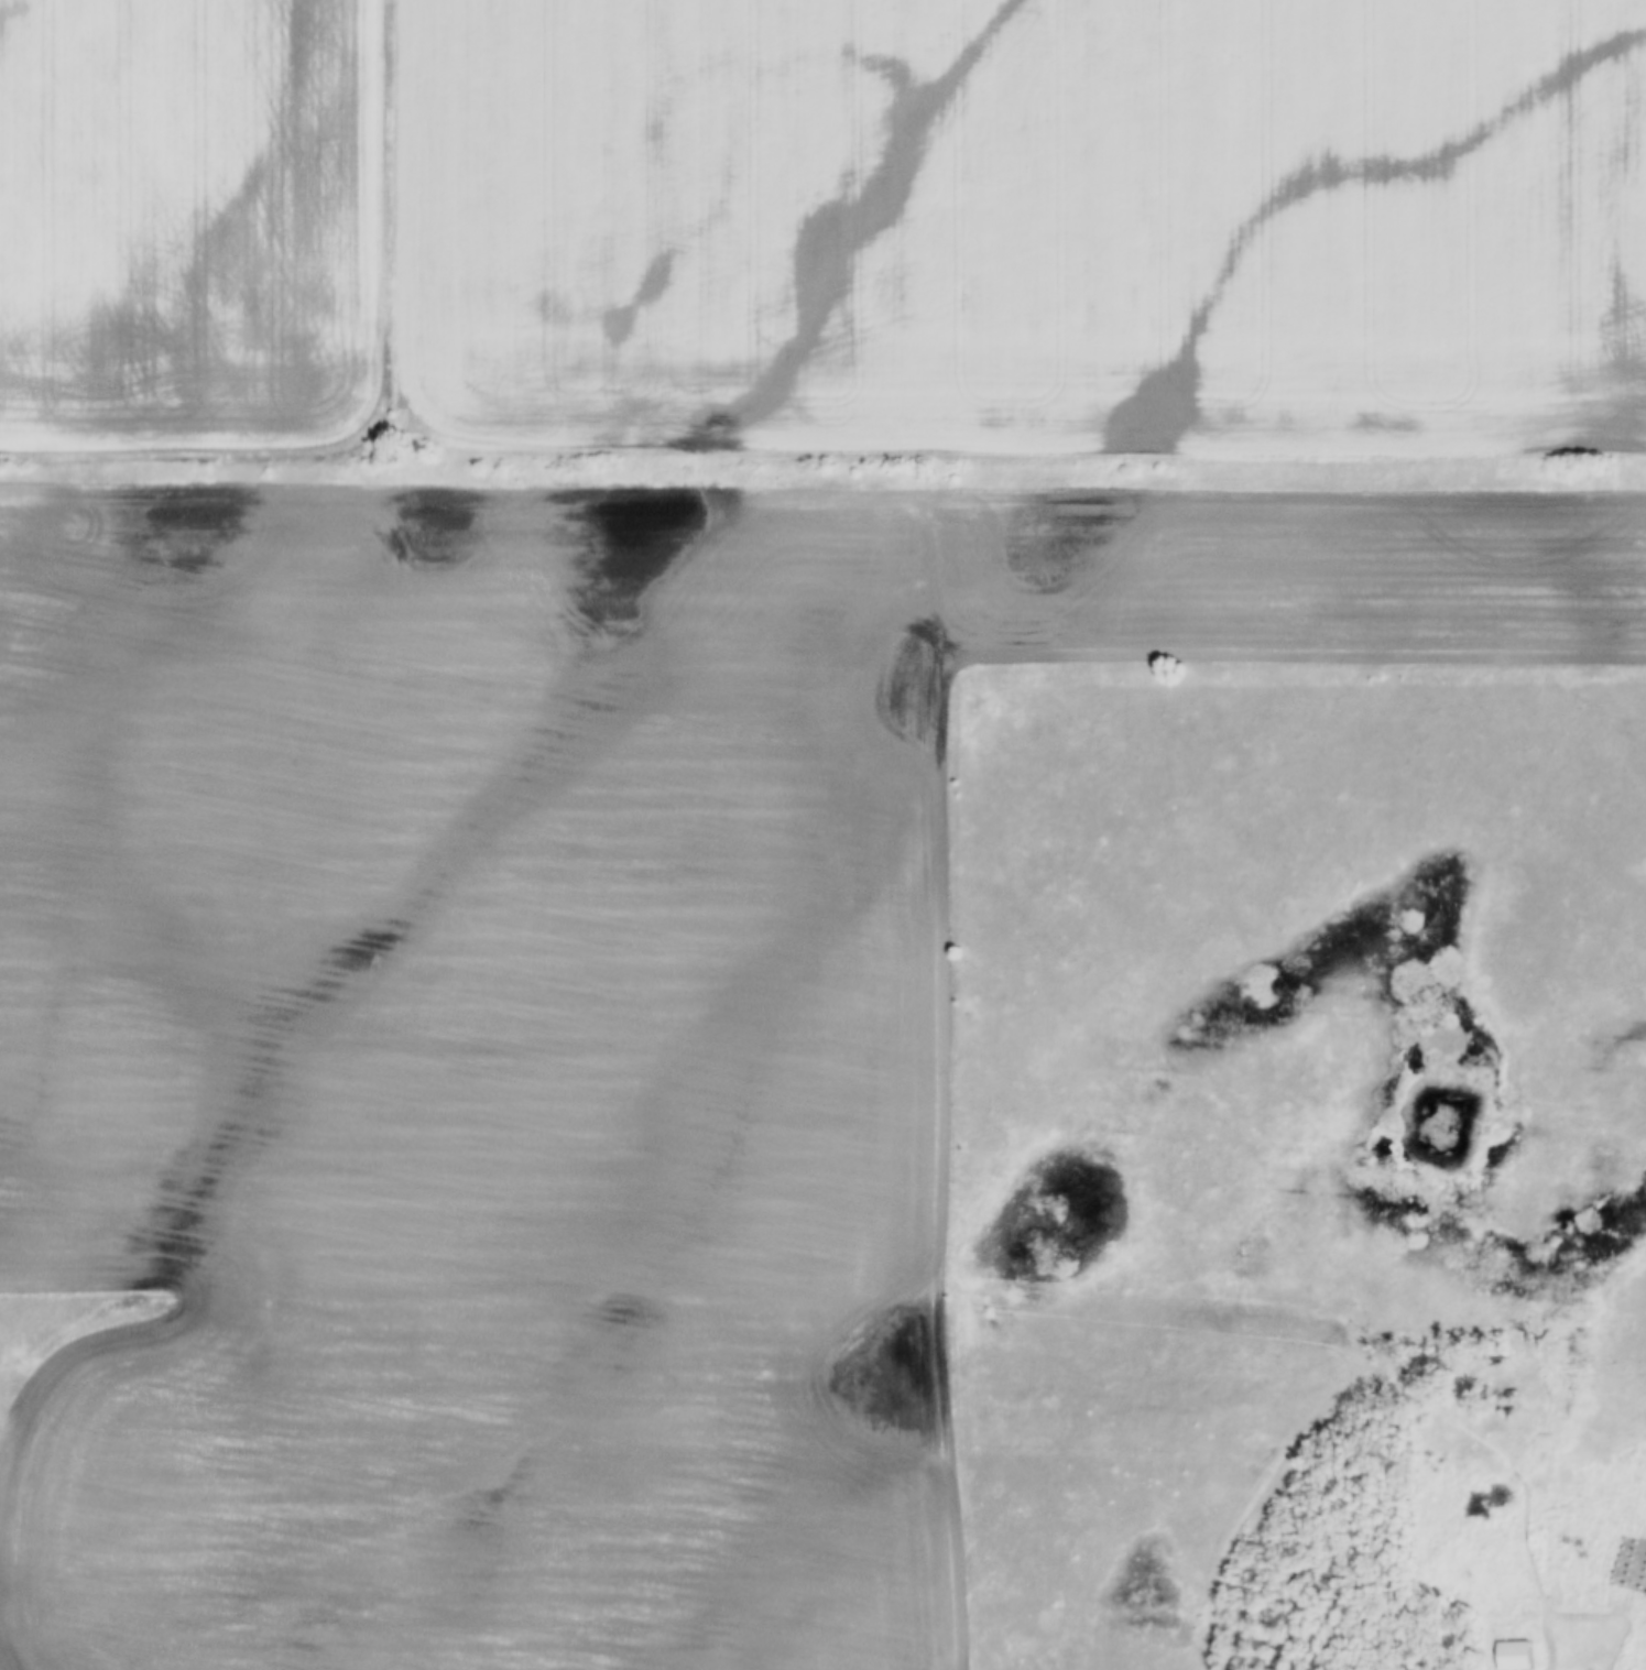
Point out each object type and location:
crop: (187, 222)
building: (1520, 1651)

